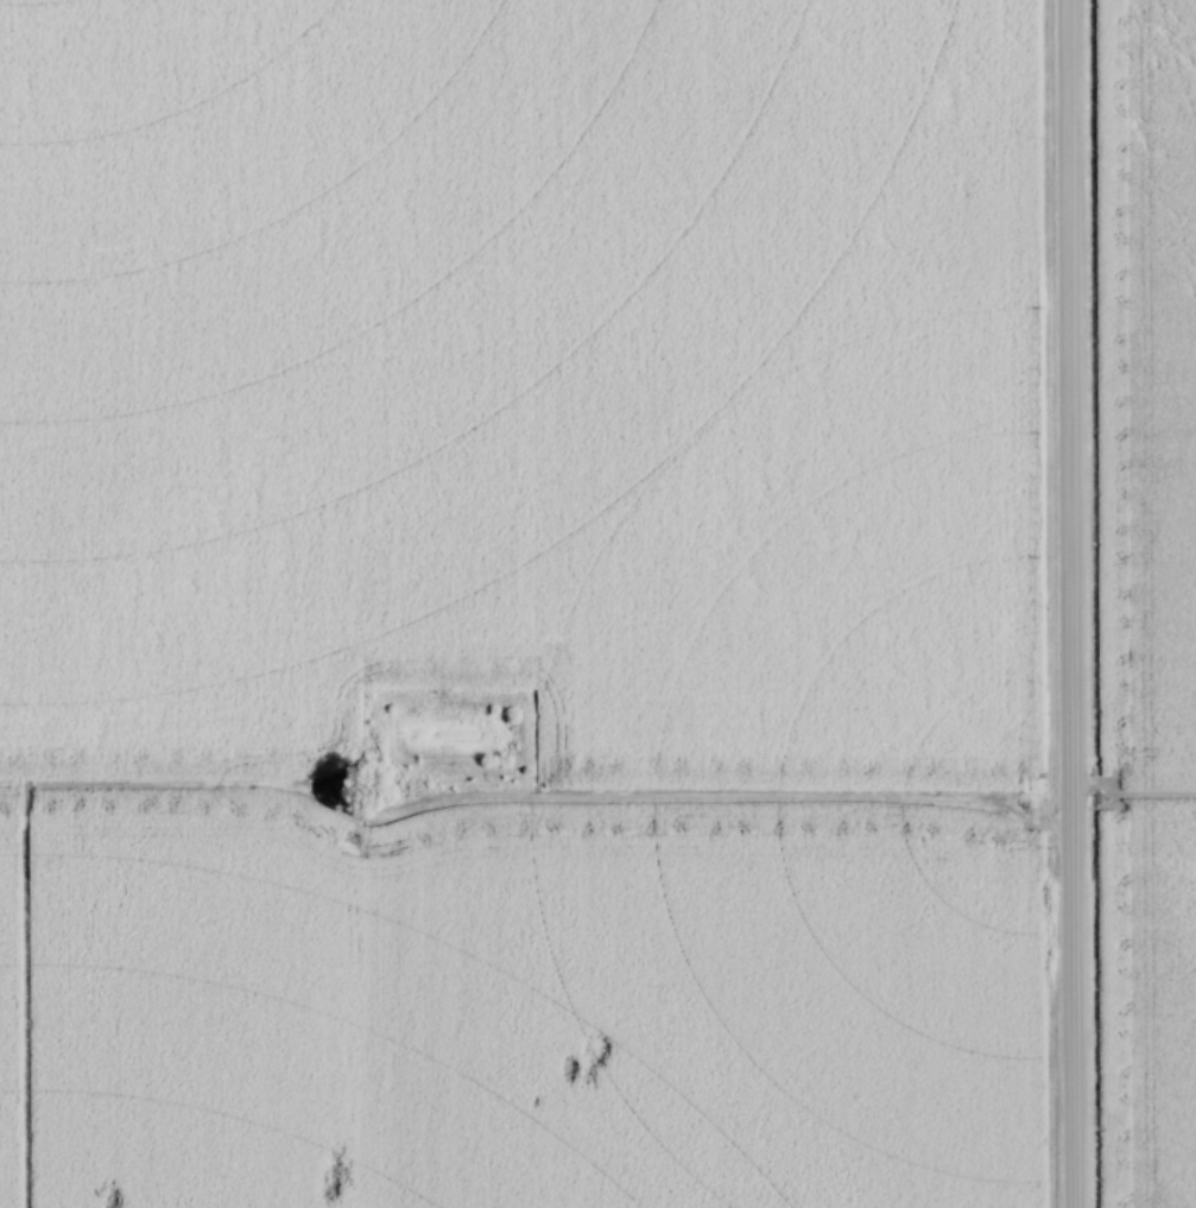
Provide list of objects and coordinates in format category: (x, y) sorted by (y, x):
road: (1062, 603)

